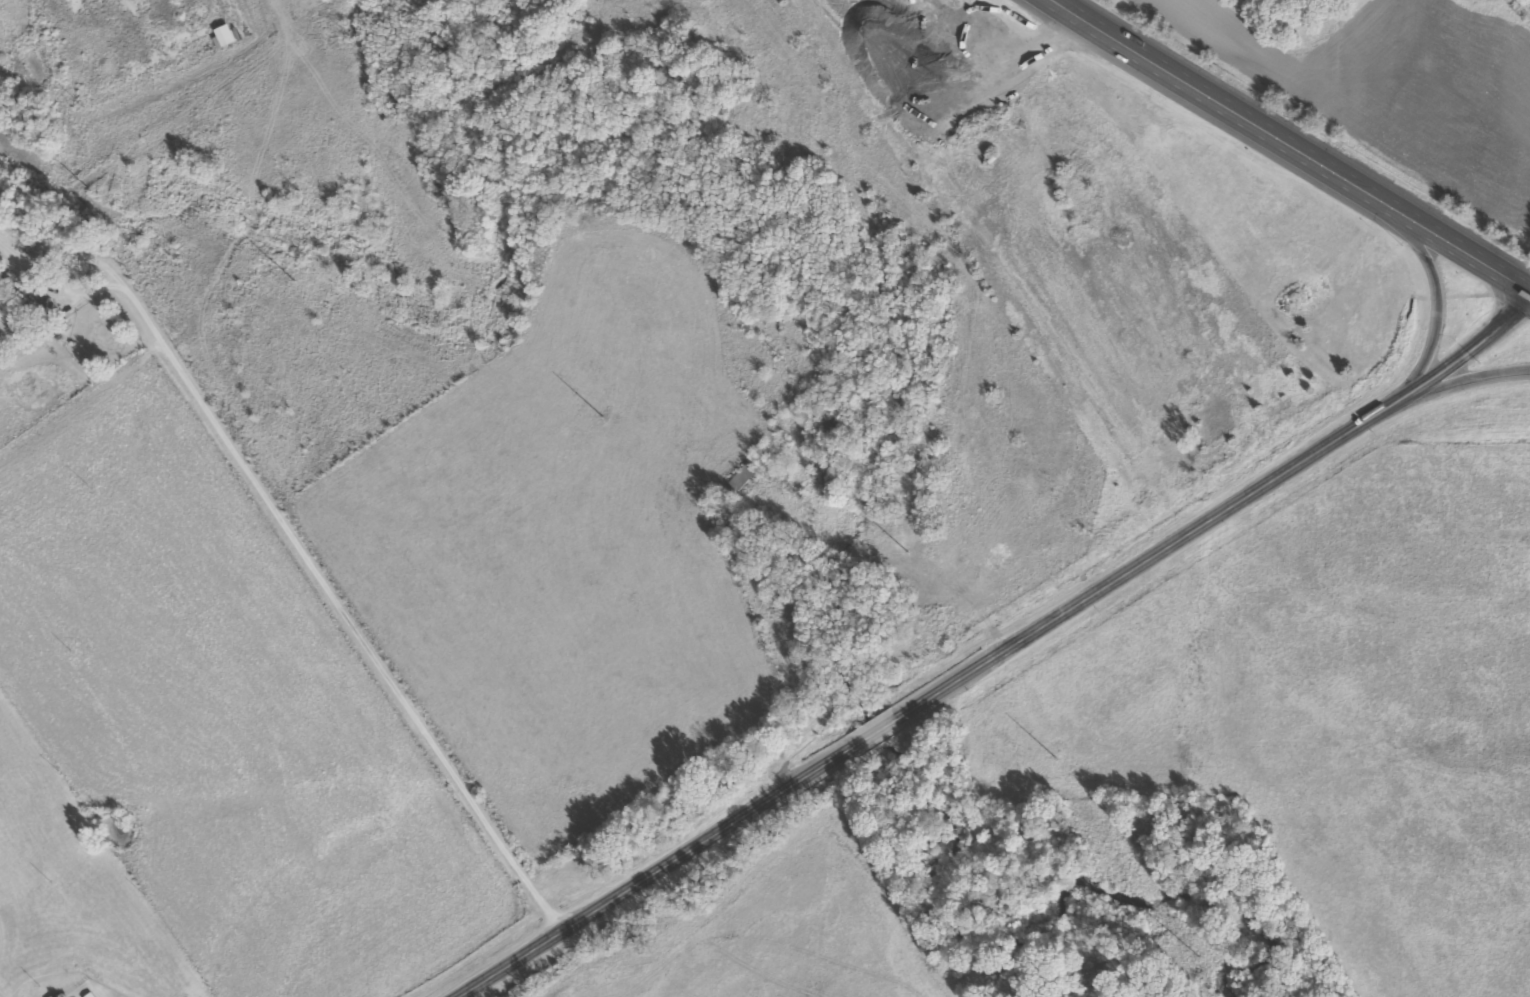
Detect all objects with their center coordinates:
building: (193, 52)
road: (1292, 141)
road: (1435, 284)
building: (41, 304)
road: (1464, 379)
river: (880, 438)
road: (1267, 478)
building: (739, 482)
building: (781, 593)
road: (337, 612)
road: (899, 715)
road: (630, 887)

